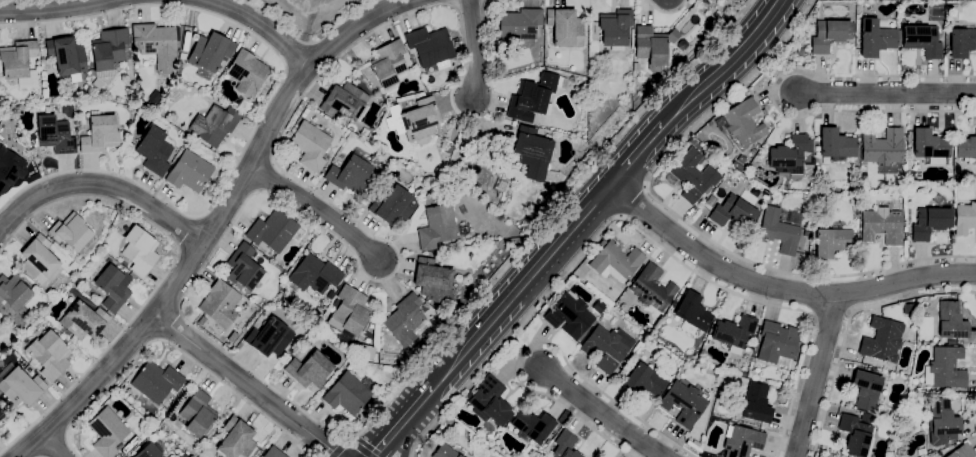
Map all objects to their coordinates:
building: (700, 7)
road: (48, 8)
road: (667, 11)
road: (310, 17)
building: (518, 23)
road: (261, 25)
road: (353, 26)
building: (565, 27)
building: (615, 27)
building: (492, 31)
building: (594, 33)
building: (830, 34)
building: (673, 36)
building: (876, 37)
building: (186, 40)
building: (922, 40)
road: (307, 41)
building: (962, 41)
building: (156, 44)
building: (455, 44)
building: (651, 45)
building: (430, 48)
road: (473, 48)
building: (799, 51)
building: (208, 53)
building: (107, 55)
building: (183, 56)
building: (67, 57)
building: (224, 58)
building: (20, 63)
building: (388, 63)
road: (725, 65)
building: (635, 66)
road: (772, 66)
building: (219, 68)
building: (178, 72)
building: (247, 72)
road: (772, 92)
road: (886, 92)
road: (728, 94)
building: (534, 96)
building: (740, 97)
building: (153, 99)
building: (346, 102)
road: (265, 106)
building: (592, 110)
building: (764, 111)
building: (416, 120)
building: (742, 122)
building: (213, 124)
building: (708, 124)
road: (483, 125)
building: (54, 134)
building: (100, 134)
building: (131, 138)
building: (692, 141)
building: (187, 144)
building: (310, 145)
building: (836, 145)
building: (930, 146)
building: (966, 147)
building: (154, 150)
building: (883, 151)
road: (635, 154)
building: (790, 155)
building: (535, 156)
building: (482, 159)
building: (468, 164)
building: (9, 167)
building: (189, 171)
building: (429, 173)
building: (350, 175)
building: (693, 175)
building: (731, 179)
road: (101, 183)
building: (503, 185)
road: (632, 201)
building: (394, 205)
road: (317, 208)
building: (462, 210)
building: (734, 211)
building: (965, 218)
road: (9, 222)
building: (930, 222)
road: (231, 224)
building: (881, 225)
building: (437, 226)
building: (780, 228)
road: (188, 230)
building: (463, 230)
road: (637, 230)
building: (274, 231)
building: (71, 232)
building: (806, 233)
building: (831, 241)
building: (62, 246)
building: (450, 246)
building: (493, 247)
building: (139, 250)
building: (38, 260)
building: (615, 261)
building: (74, 267)
building: (245, 267)
building: (210, 273)
road: (797, 273)
road: (165, 274)
road: (181, 275)
building: (314, 275)
building: (433, 280)
building: (111, 285)
road: (520, 287)
building: (652, 288)
road: (778, 289)
building: (14, 291)
building: (63, 291)
building: (330, 294)
building: (674, 303)
building: (220, 304)
building: (597, 307)
road: (831, 309)
road: (851, 309)
building: (692, 311)
building: (349, 313)
road: (812, 313)
building: (569, 316)
building: (405, 319)
building: (84, 320)
building: (950, 321)
road: (848, 322)
road: (170, 325)
building: (733, 333)
building: (909, 336)
building: (269, 337)
building: (882, 340)
road: (546, 344)
building: (777, 344)
road: (176, 347)
road: (515, 347)
building: (604, 348)
building: (48, 355)
building: (619, 367)
building: (945, 368)
building: (309, 370)
building: (753, 372)
building: (621, 373)
road: (816, 376)
building: (643, 381)
building: (156, 382)
building: (20, 385)
road: (247, 385)
building: (866, 389)
building: (186, 393)
building: (348, 393)
building: (933, 393)
building: (490, 401)
building: (683, 403)
building: (755, 403)
road: (602, 413)
building: (1, 415)
building: (196, 415)
building: (563, 416)
building: (942, 422)
road: (401, 423)
building: (532, 426)
building: (107, 431)
road: (406, 433)
building: (856, 433)
building: (461, 435)
building: (236, 439)
building: (547, 441)
building: (741, 441)
building: (695, 443)
road: (51, 445)
building: (564, 445)
road: (340, 447)
building: (149, 450)
building: (962, 451)
building: (274, 452)
building: (444, 452)
building: (938, 453)
building: (119, 455)
building: (927, 456)

